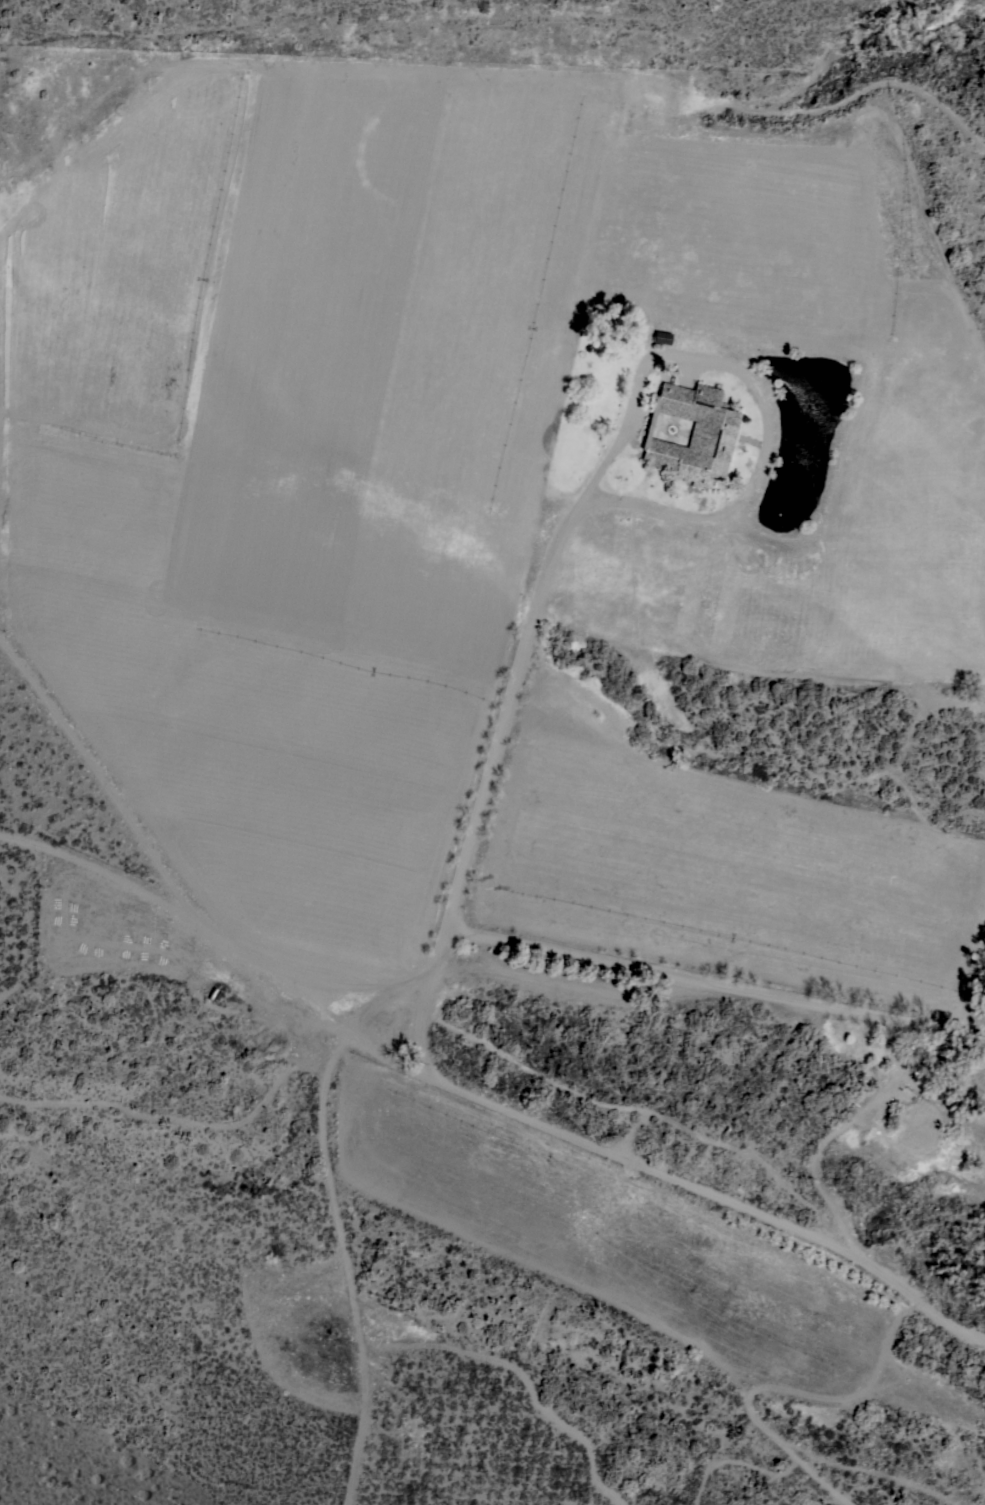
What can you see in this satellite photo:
building: (692, 433)
road: (607, 454)
crop: (480, 520)
road: (715, 986)
building: (922, 1065)
crop: (556, 1291)

